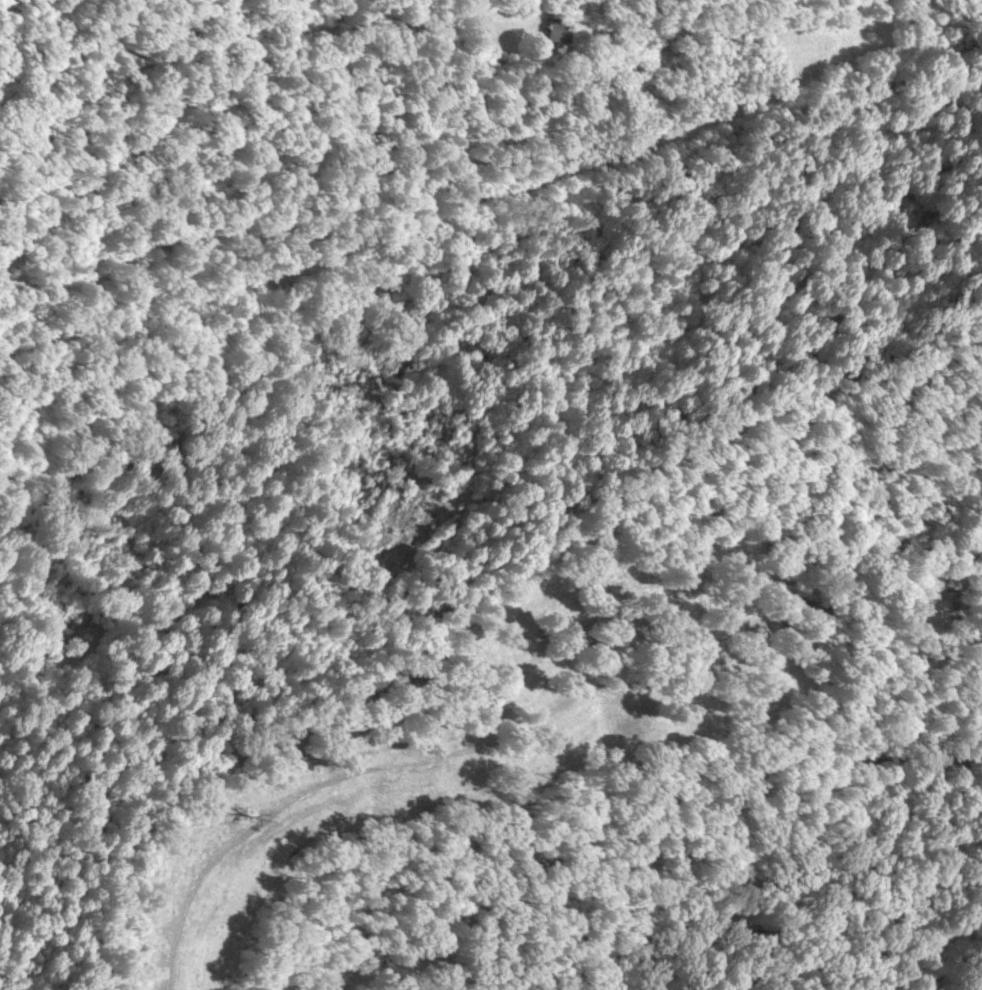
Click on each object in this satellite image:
building: (554, 30)

